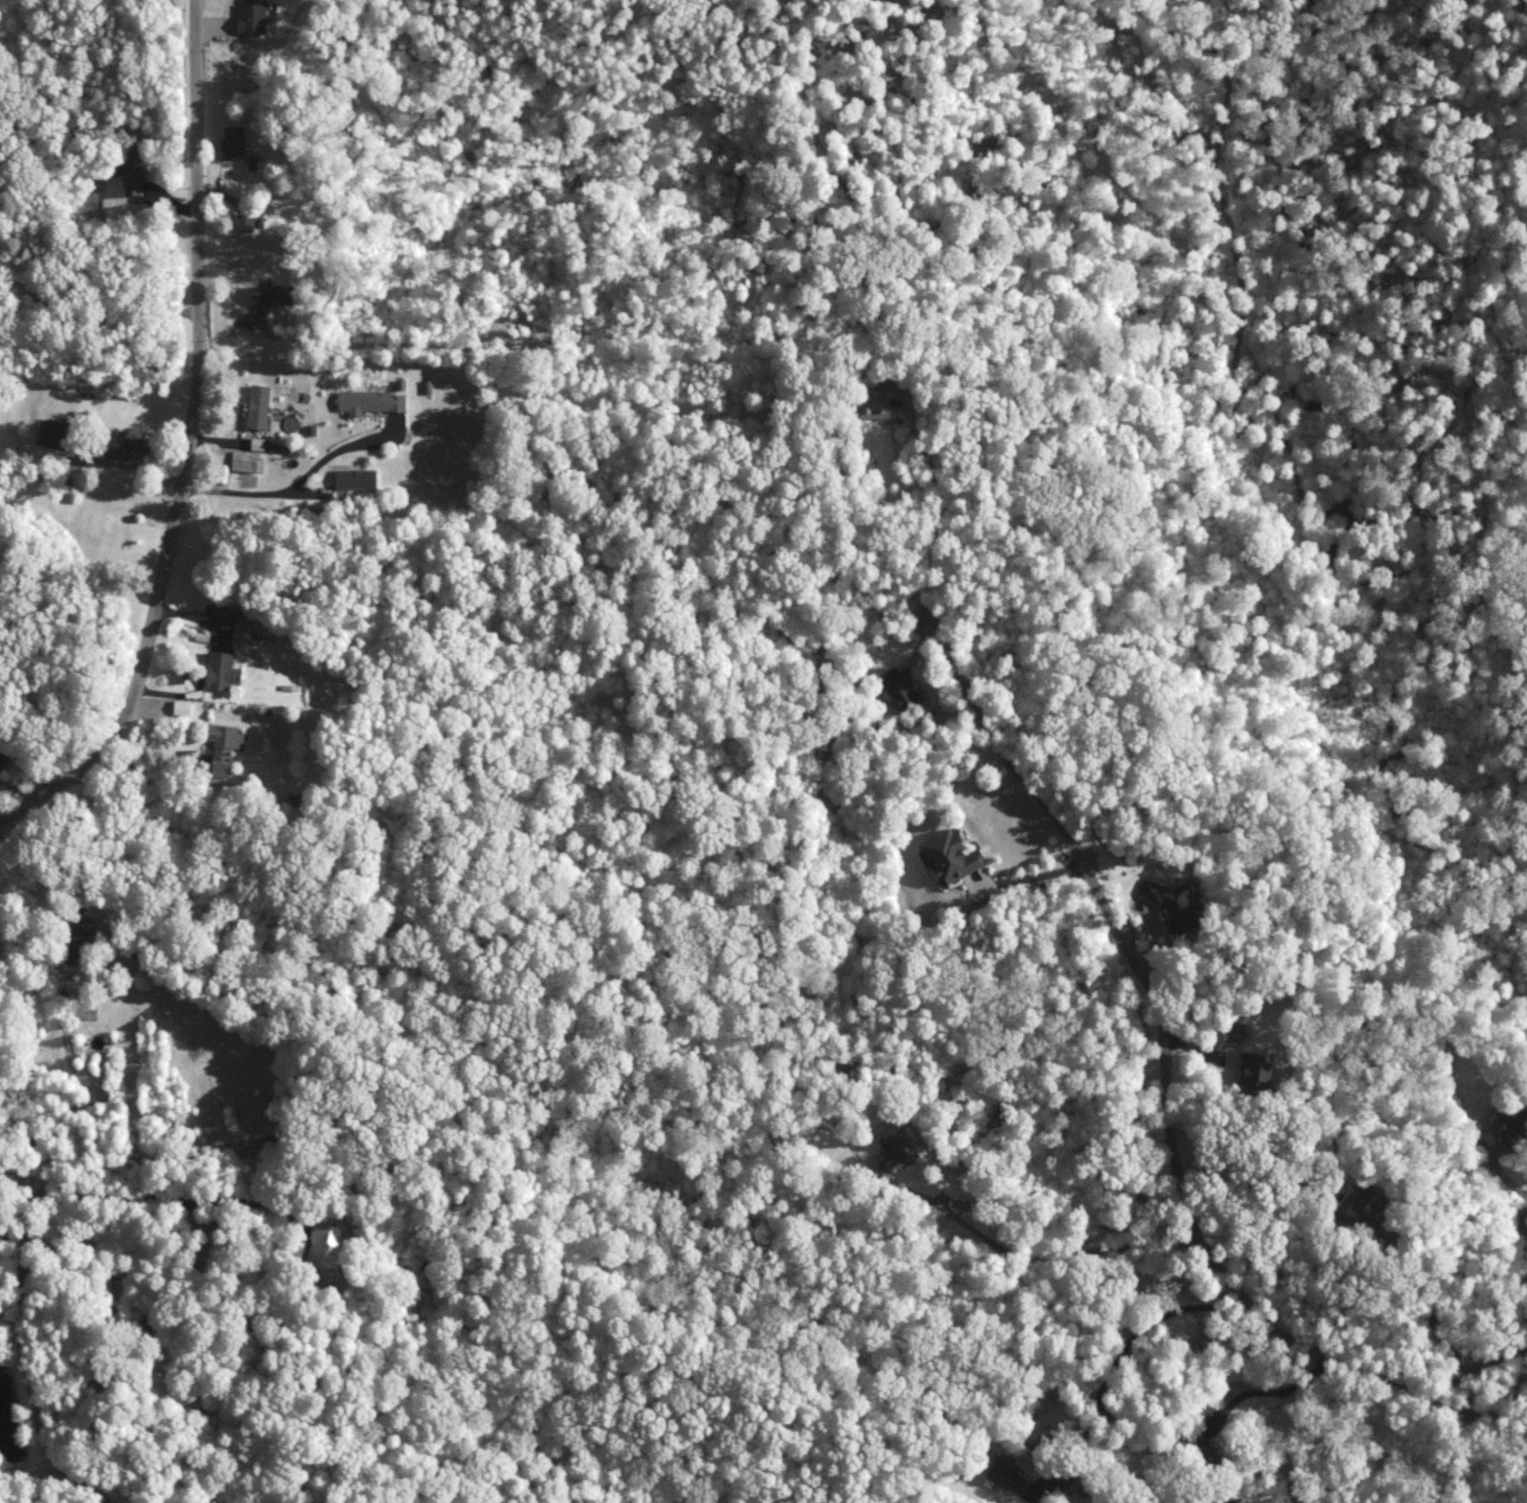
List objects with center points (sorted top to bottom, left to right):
building: (252, 15)
building: (233, 141)
building: (133, 169)
building: (245, 221)
building: (268, 300)
road: (86, 316)
building: (371, 401)
building: (876, 402)
building: (259, 405)
building: (55, 438)
road: (222, 442)
building: (257, 443)
building: (129, 449)
road: (185, 457)
building: (247, 460)
building: (356, 478)
road: (295, 488)
building: (224, 610)
road: (195, 621)
building: (242, 626)
building: (222, 670)
building: (901, 688)
building: (182, 706)
building: (224, 746)
building: (1, 757)
building: (952, 855)
building: (1172, 904)
road: (1146, 993)
building: (1235, 1031)
building: (1256, 1067)
building: (1509, 1123)
building: (899, 1147)
building: (1369, 1199)
road: (33, 1223)
building: (327, 1241)
road: (1029, 1241)
road: (1522, 1256)
road: (13, 1324)
road: (1439, 1332)
road: (1111, 1366)
road: (1284, 1390)
building: (1201, 1443)
building: (1007, 1473)

